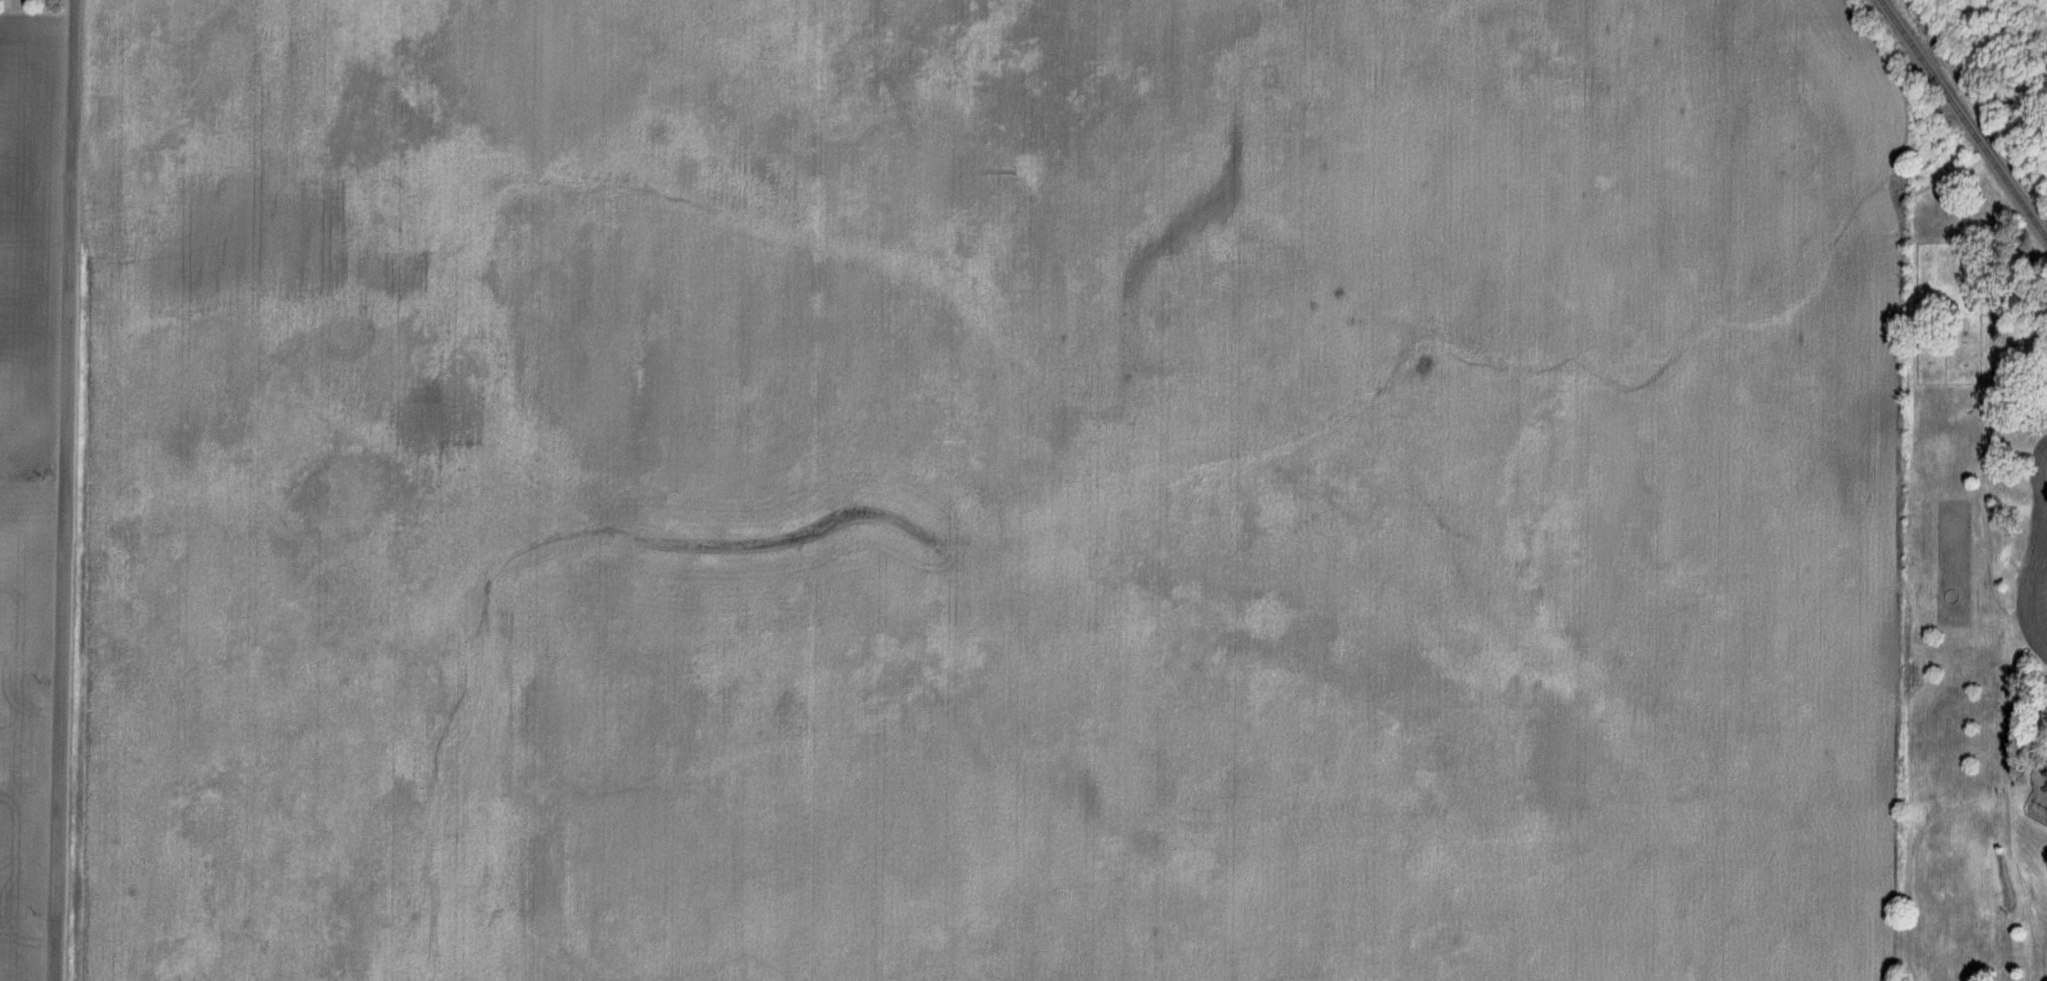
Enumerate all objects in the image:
building: (21, 4)
railway: (1964, 118)
road: (71, 490)
road: (2034, 553)
park: (1974, 590)
parking lot: (2043, 597)

